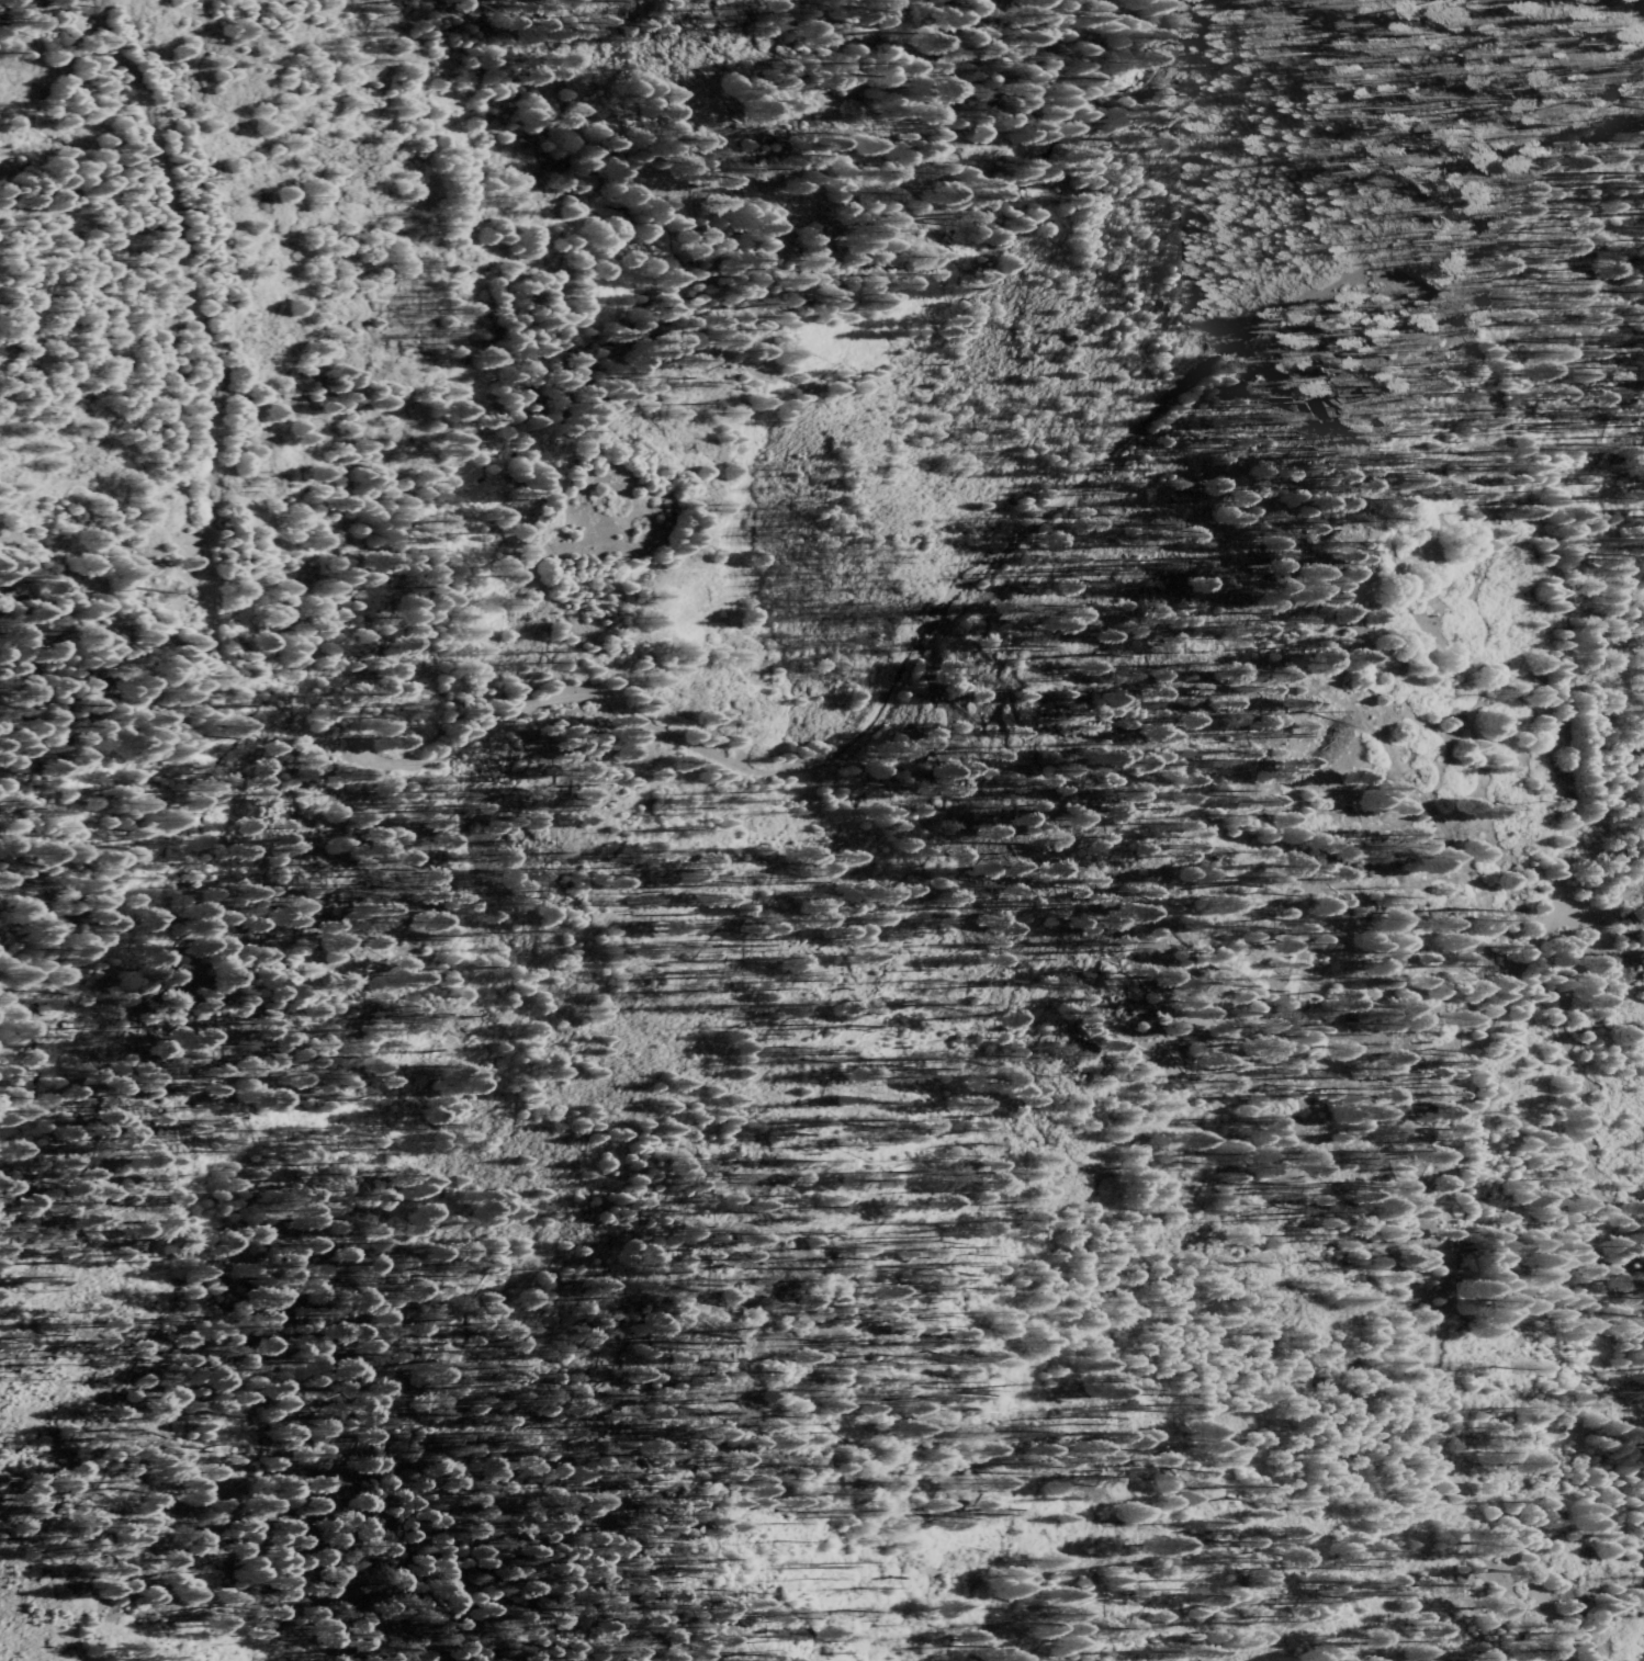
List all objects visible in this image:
road: (847, 241)
road: (1126, 431)

